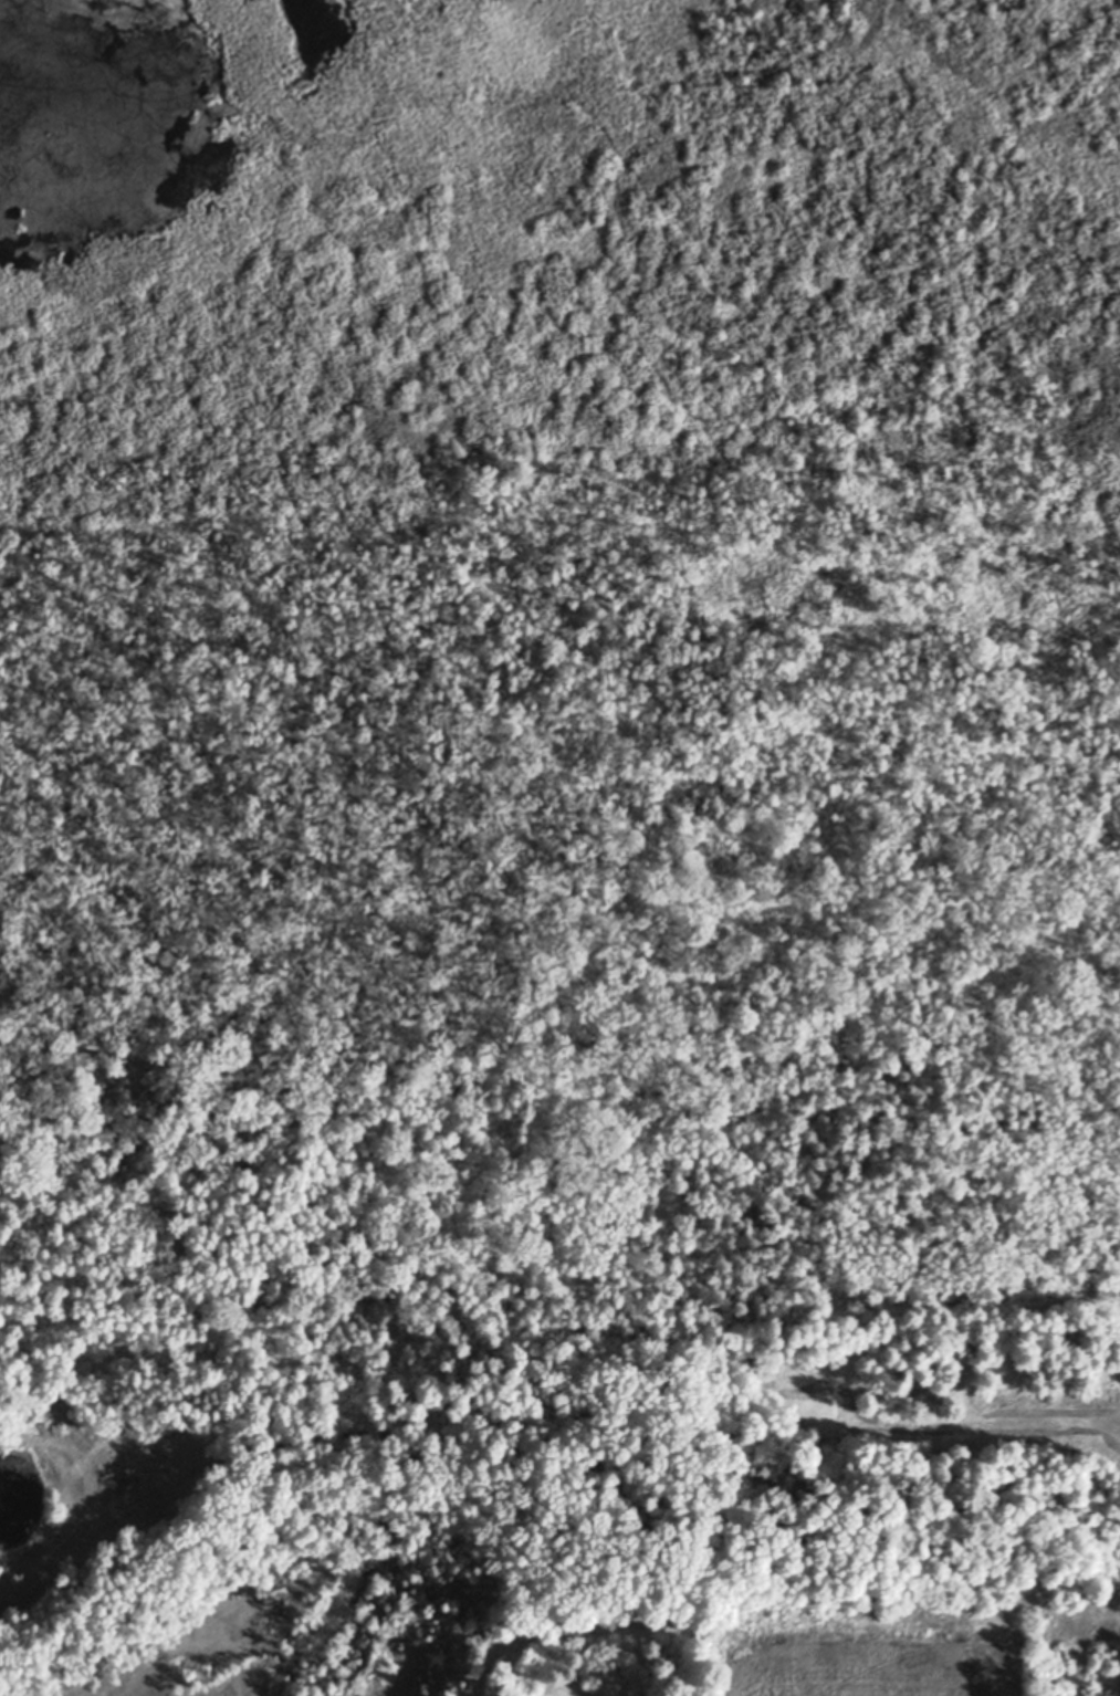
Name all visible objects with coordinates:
building: (74, 1480)

